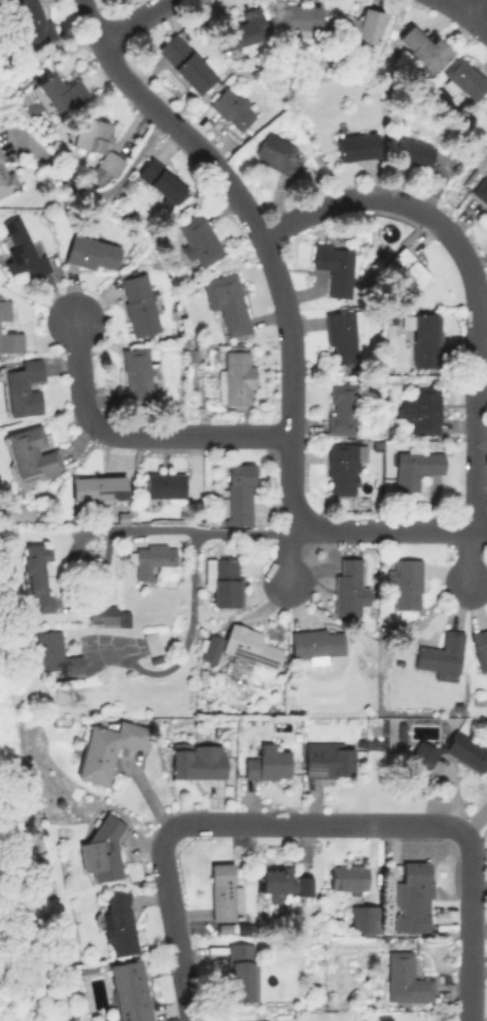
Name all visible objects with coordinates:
road: (453, 5)
road: (468, 5)
building: (299, 16)
road: (476, 18)
road: (141, 19)
building: (31, 21)
building: (359, 25)
building: (242, 29)
building: (421, 49)
building: (186, 62)
building: (464, 78)
building: (56, 92)
building: (231, 107)
building: (486, 108)
building: (355, 145)
building: (96, 148)
building: (412, 151)
building: (277, 154)
building: (5, 177)
building: (159, 179)
building: (480, 189)
road: (107, 190)
building: (485, 225)
road: (262, 233)
building: (197, 239)
building: (20, 249)
building: (91, 253)
building: (334, 267)
building: (406, 268)
road: (470, 277)
building: (225, 302)
building: (137, 304)
building: (4, 307)
building: (341, 334)
building: (424, 339)
building: (10, 341)
building: (136, 371)
building: (235, 377)
building: (22, 388)
building: (341, 407)
building: (420, 408)
road: (133, 436)
building: (30, 452)
building: (342, 466)
building: (414, 466)
building: (162, 484)
building: (96, 488)
building: (237, 490)
road: (288, 529)
road: (287, 549)
road: (467, 555)
building: (150, 558)
building: (36, 573)
building: (223, 579)
building: (405, 582)
building: (346, 585)
road: (80, 601)
building: (101, 613)
building: (123, 619)
building: (150, 642)
building: (315, 643)
road: (183, 646)
building: (479, 646)
building: (241, 647)
building: (51, 653)
building: (441, 655)
power tower: (57, 701)
building: (105, 747)
building: (465, 750)
building: (421, 756)
building: (327, 758)
building: (197, 760)
building: (266, 762)
road: (313, 824)
building: (101, 851)
building: (347, 877)
building: (283, 881)
building: (222, 892)
building: (411, 898)
building: (362, 919)
building: (117, 923)
road: (469, 926)
road: (172, 927)
building: (240, 971)
building: (404, 979)
building: (129, 990)
building: (265, 1020)

